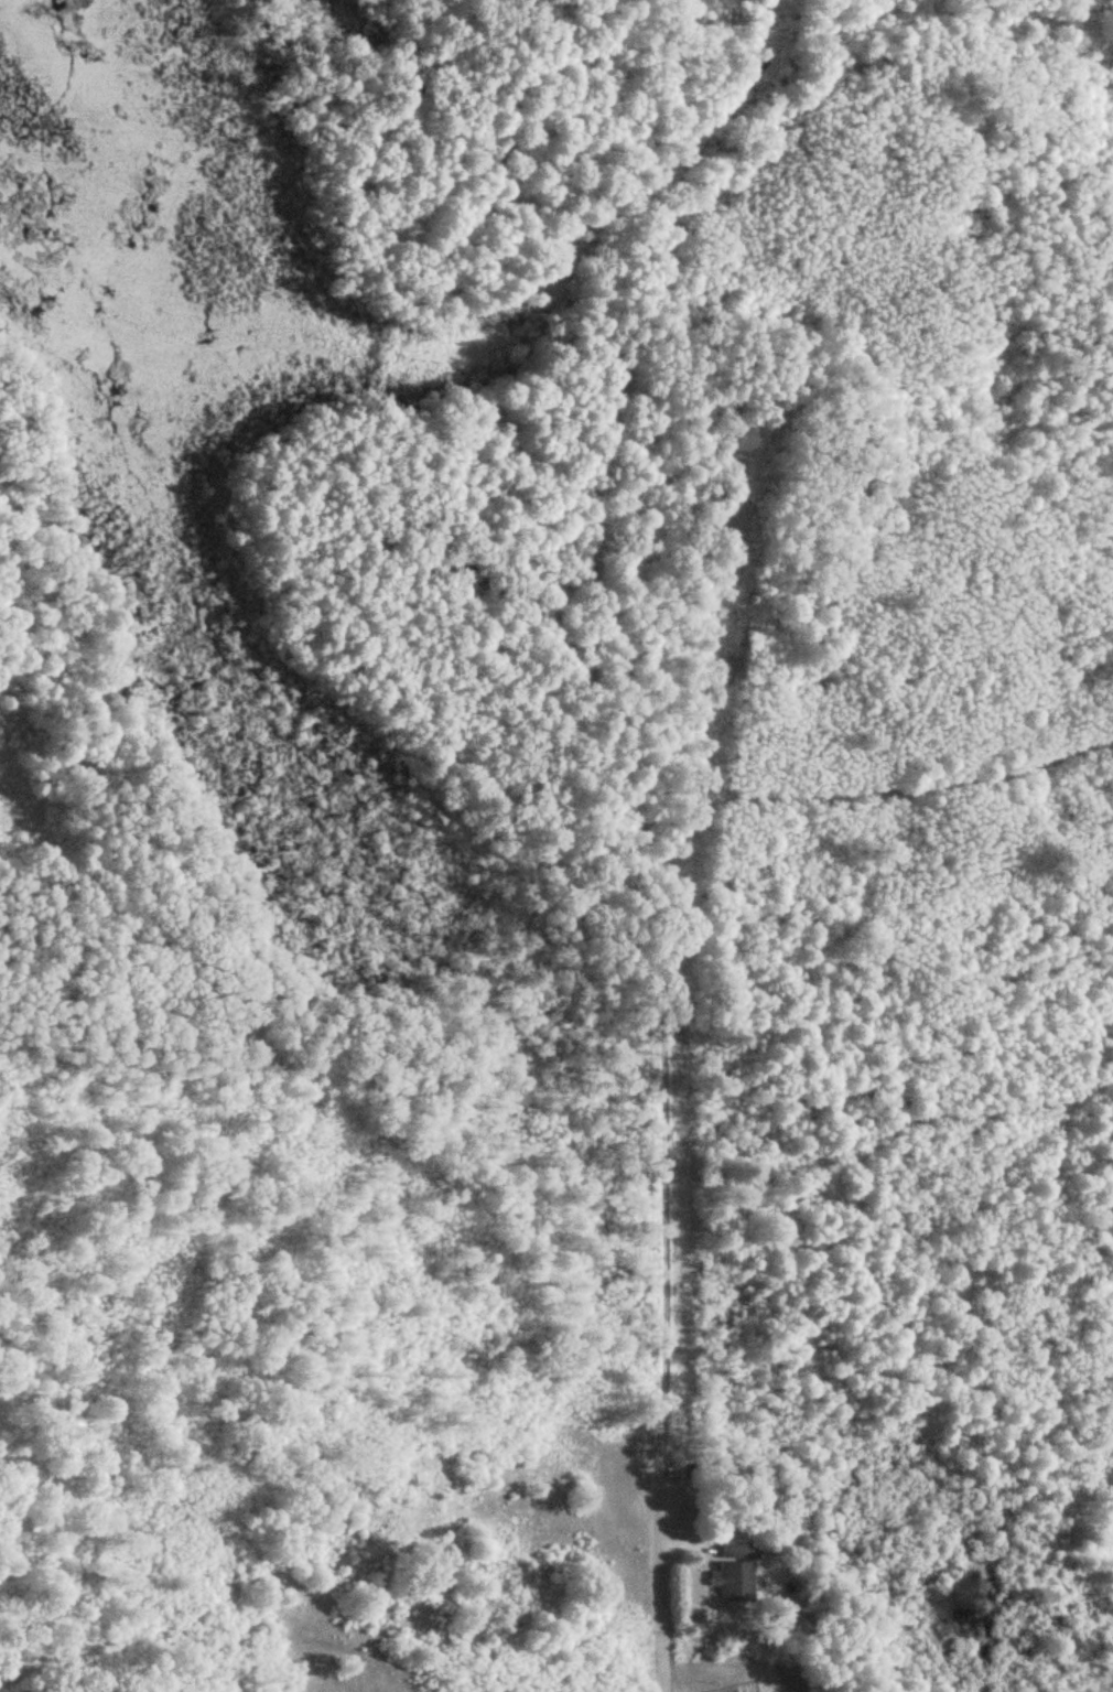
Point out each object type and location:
building: (741, 473)
road: (664, 957)
building: (733, 1548)
building: (732, 1582)

